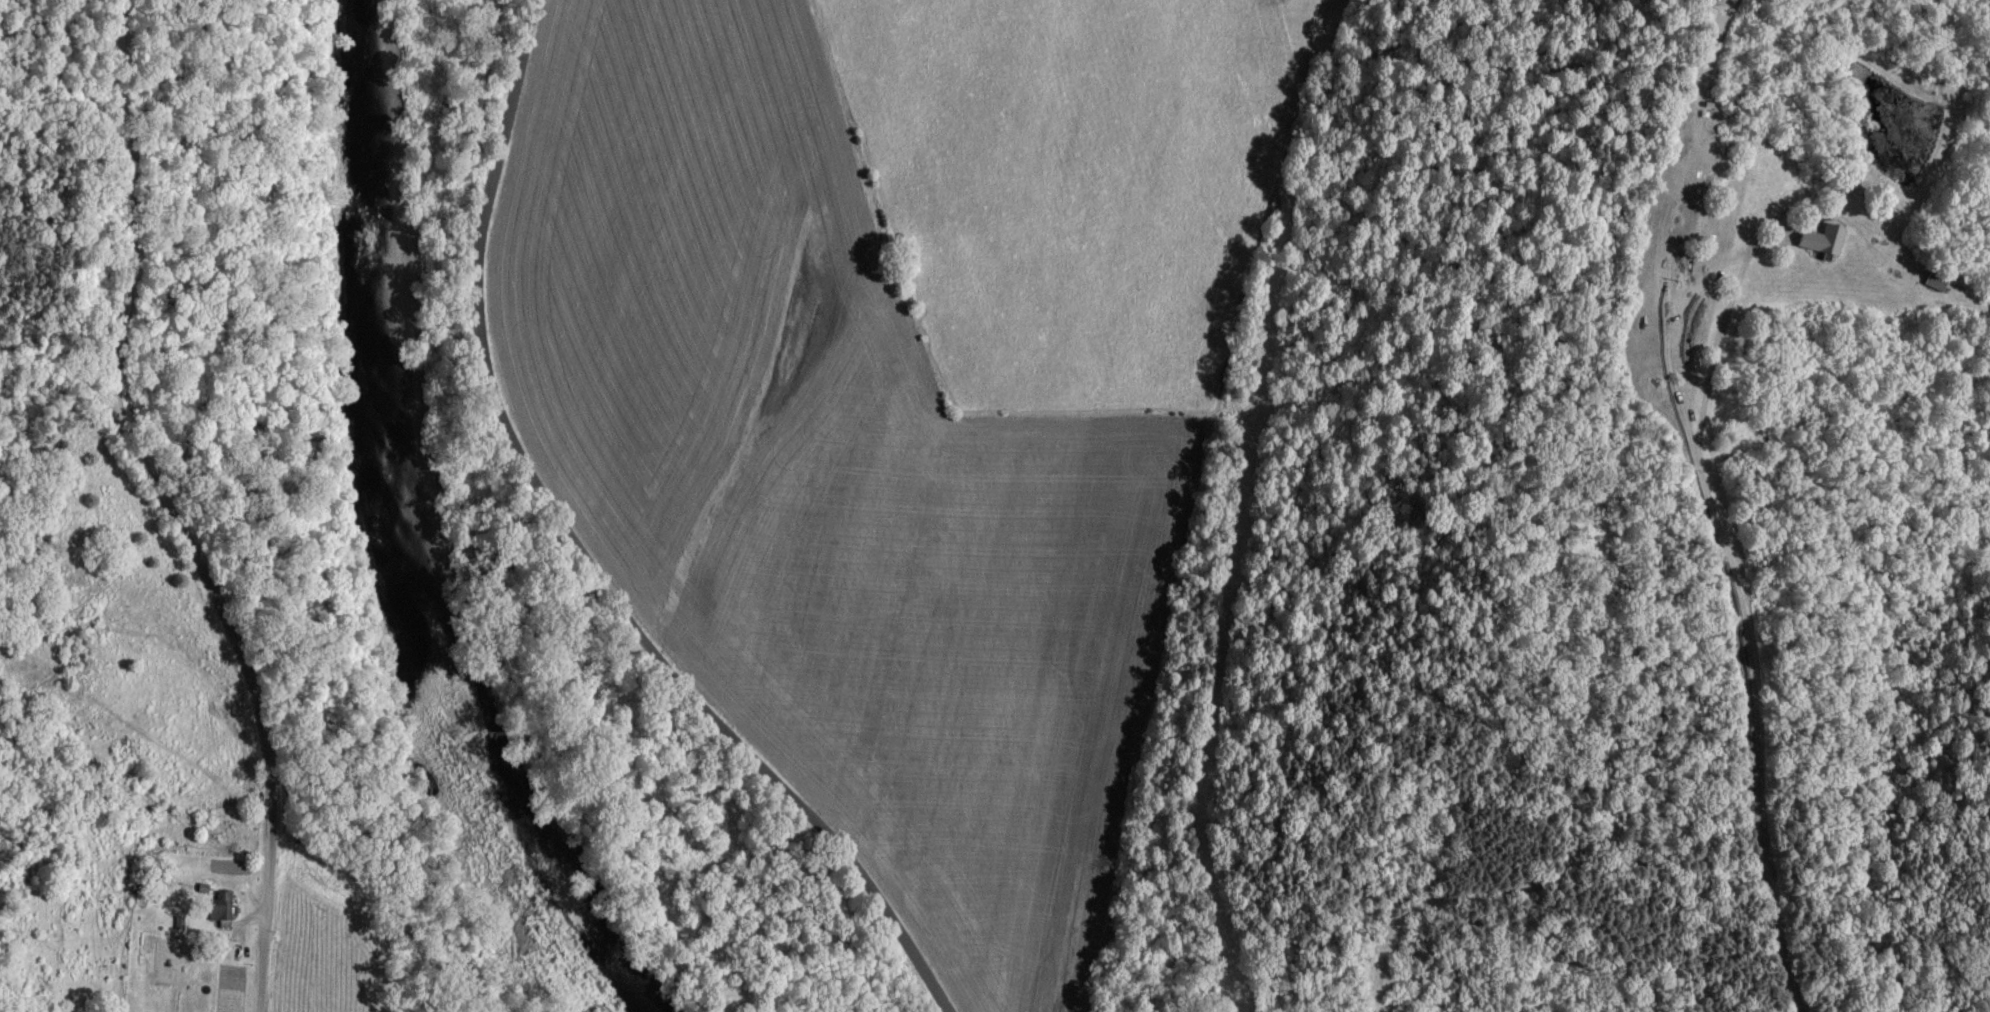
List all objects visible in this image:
building: (1814, 241)
building: (1929, 281)
crop: (899, 398)
road: (170, 510)
river: (393, 532)
road: (584, 556)
road: (1740, 594)
building: (219, 907)
crop: (326, 941)

